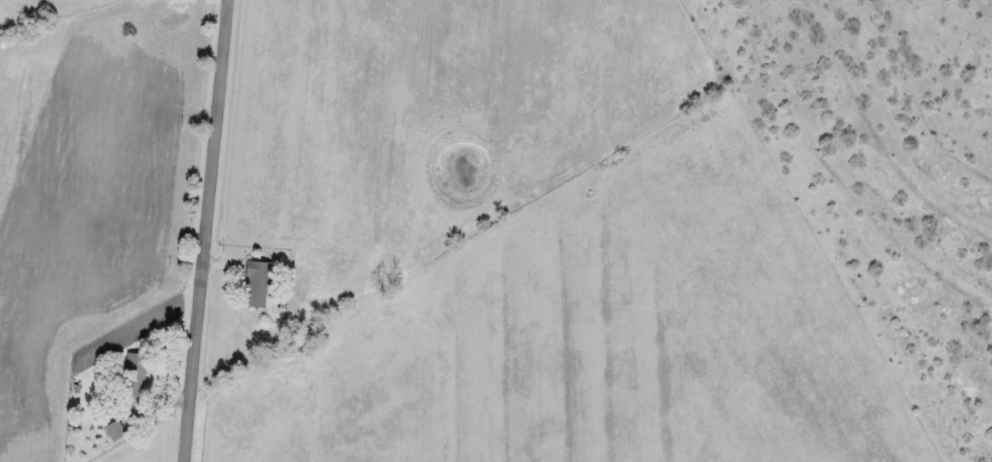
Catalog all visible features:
road: (205, 231)
building: (257, 281)
building: (133, 375)
building: (114, 428)

